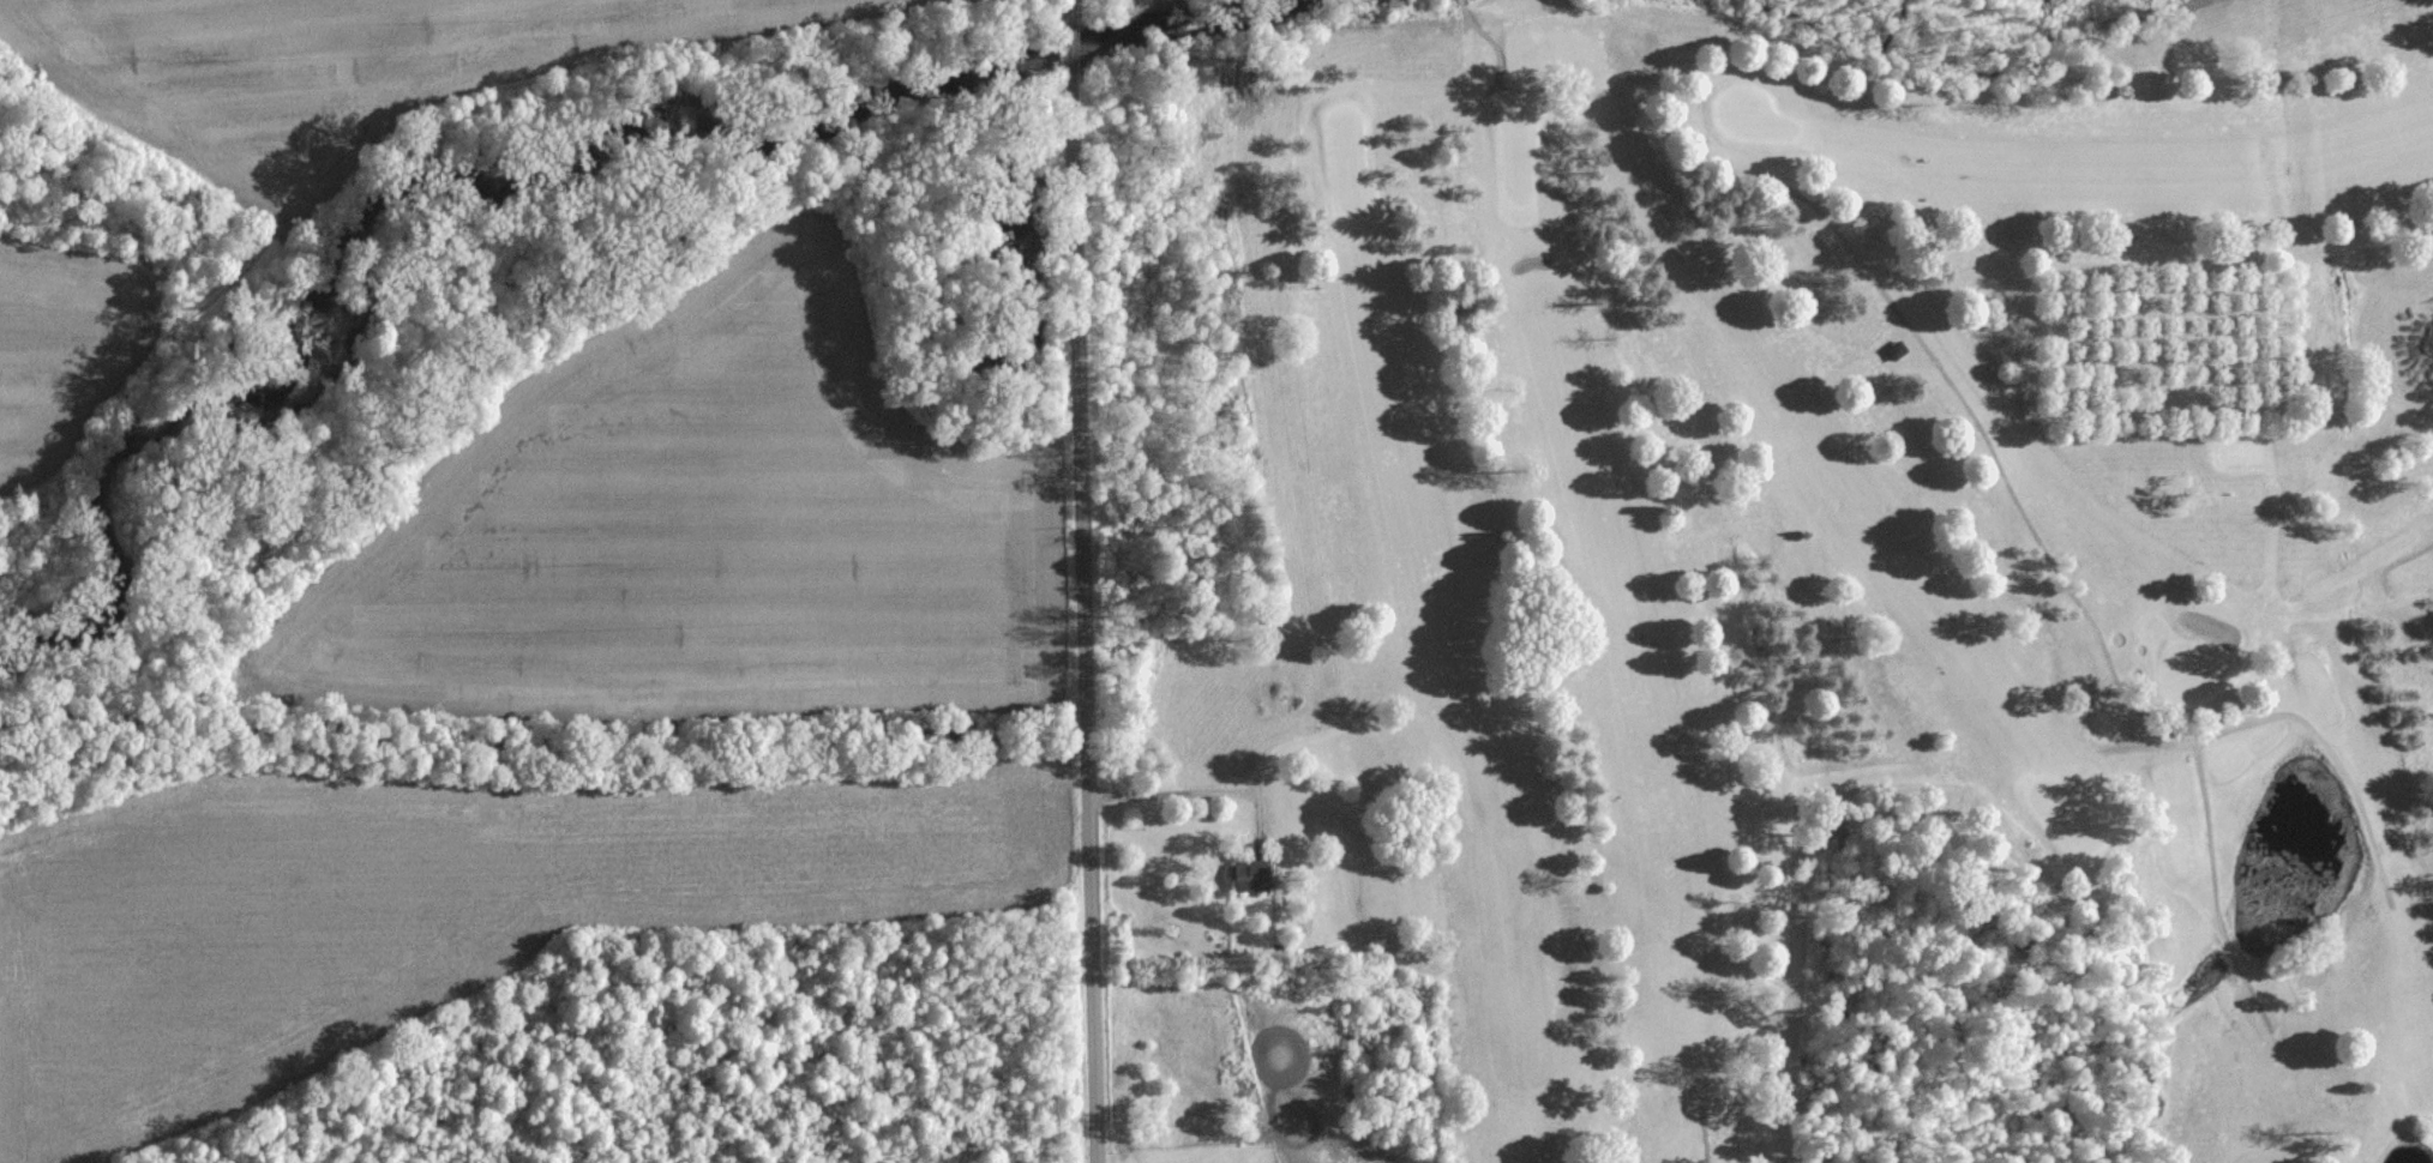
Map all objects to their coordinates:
park: (1876, 567)
road: (1099, 580)
road: (1206, 785)
building: (1250, 874)

